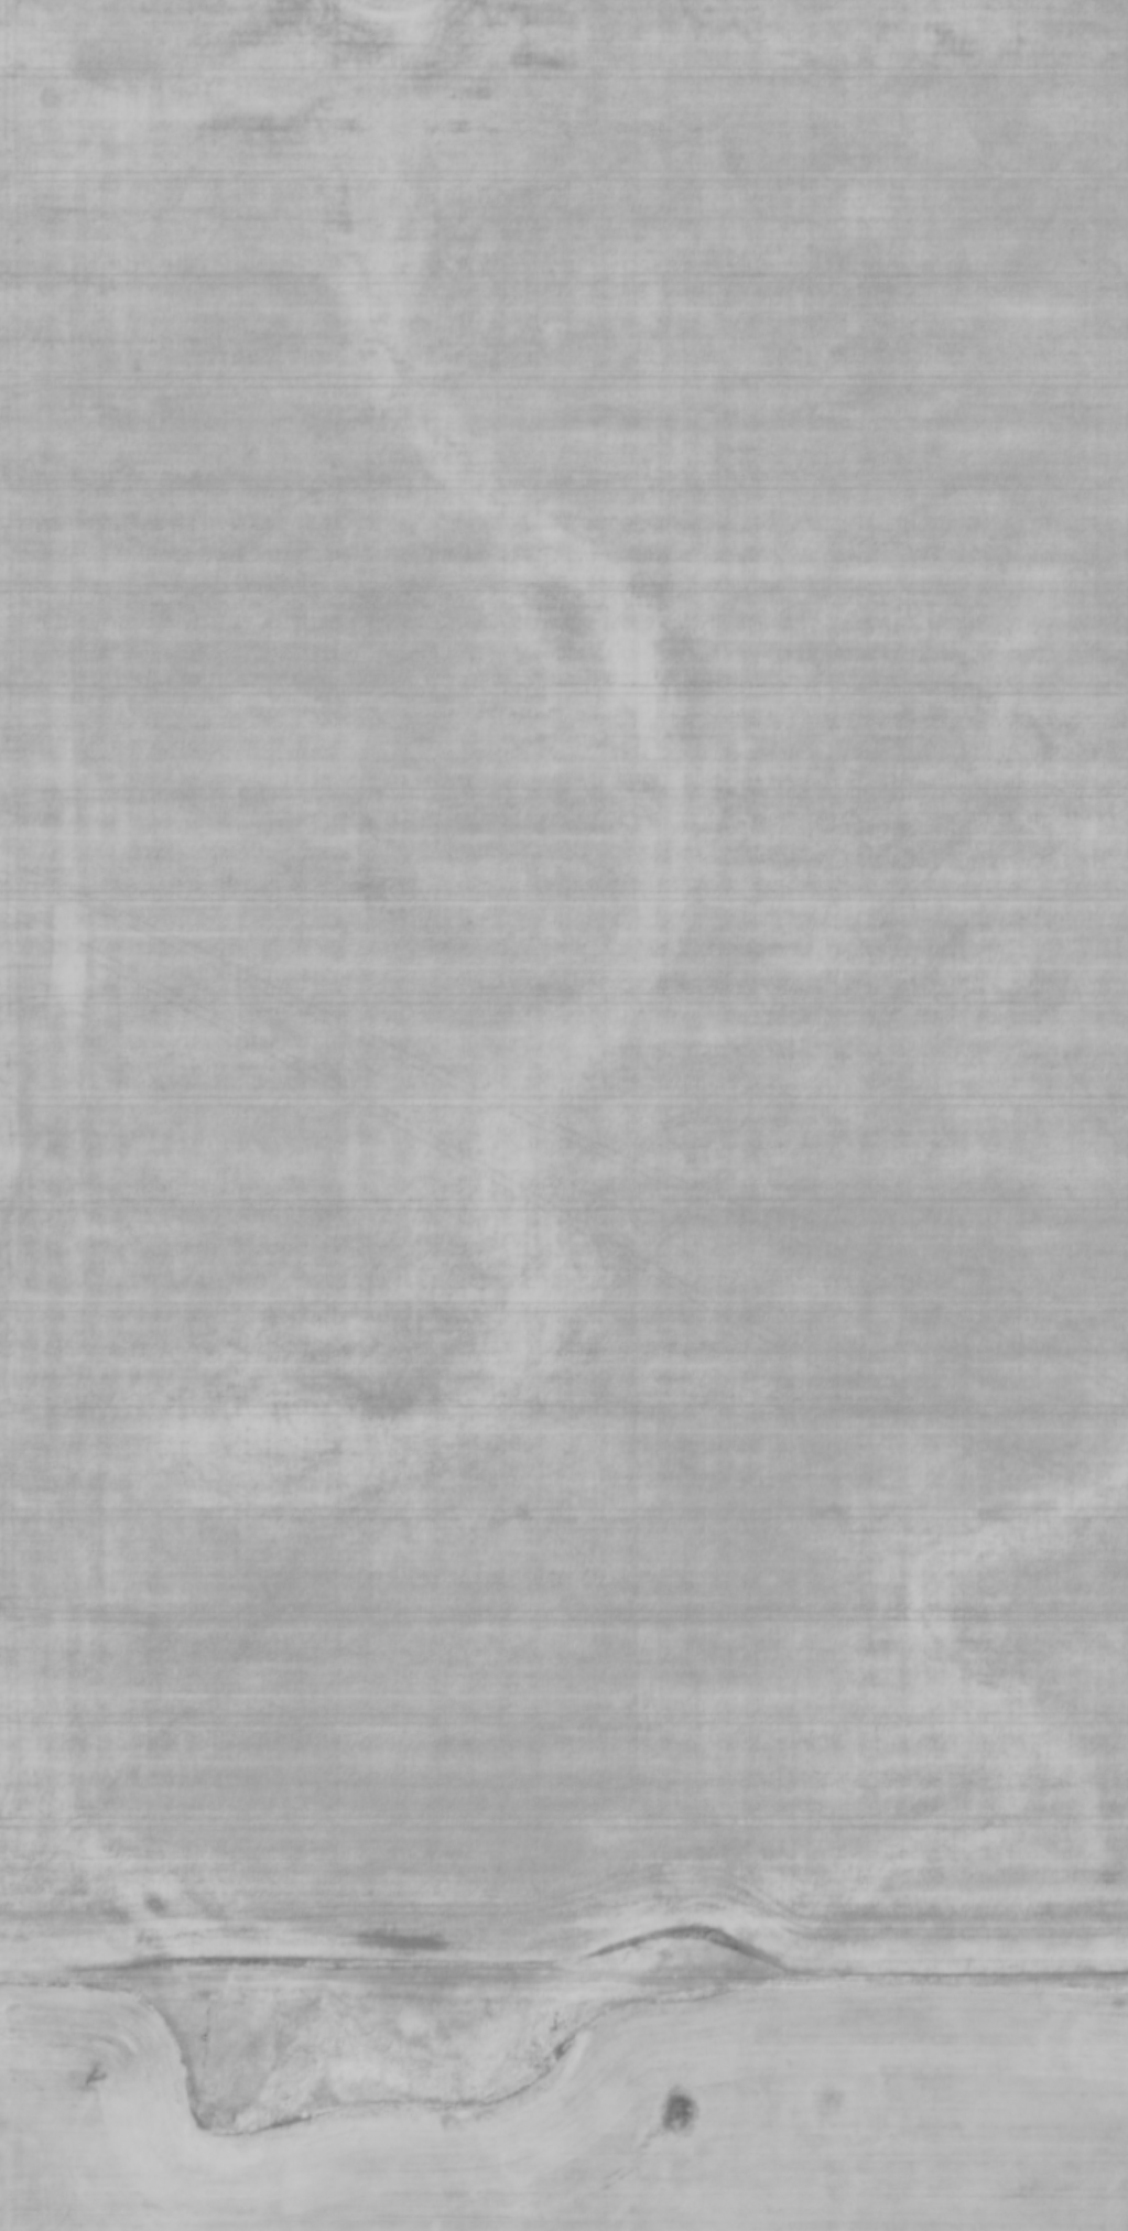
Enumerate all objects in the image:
road: (563, 1972)

